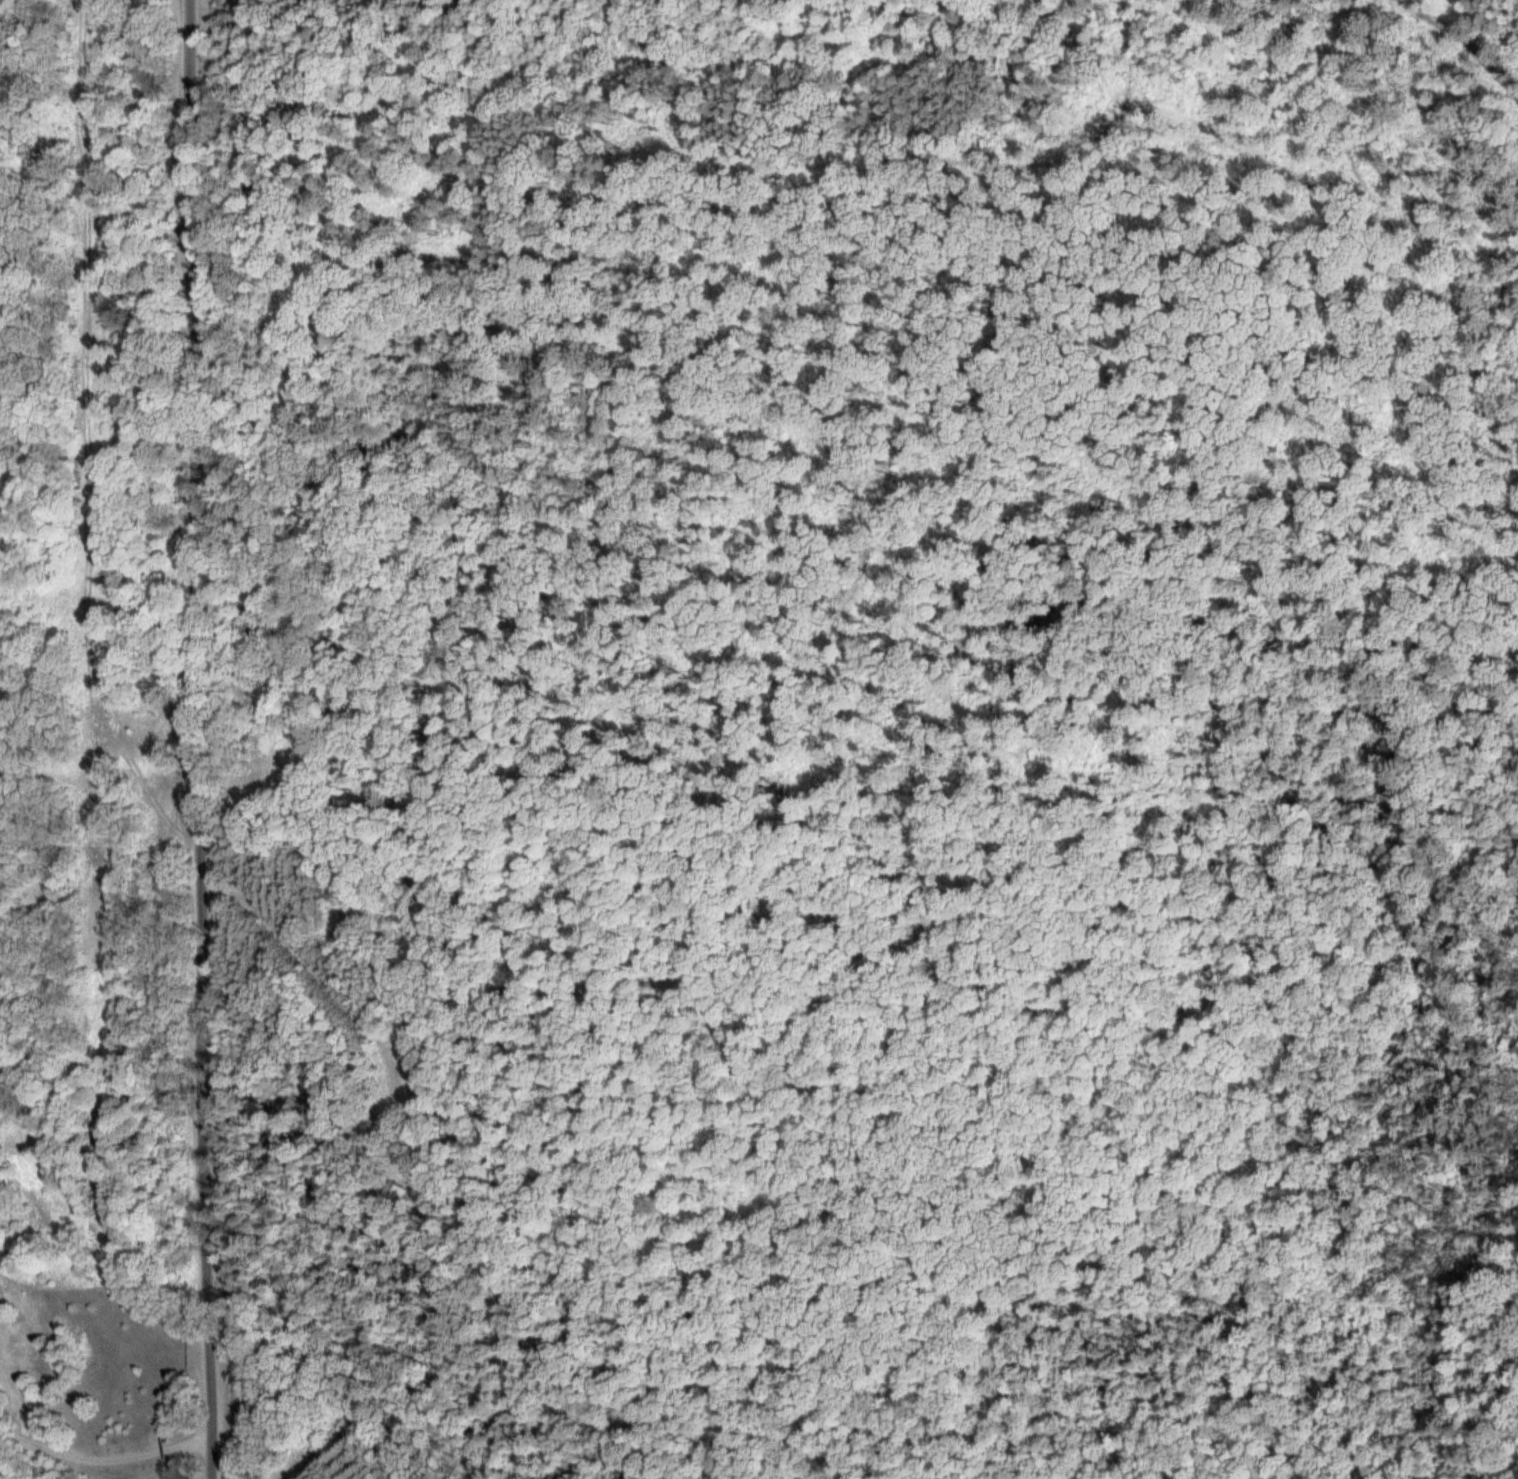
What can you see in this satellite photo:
road: (99, 458)
road: (203, 739)
road: (343, 1085)

